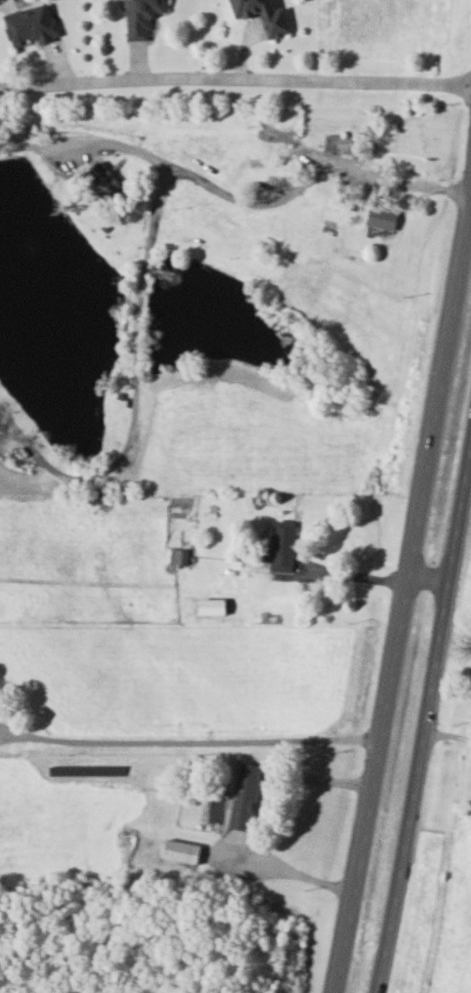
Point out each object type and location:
road: (4, 2)
building: (267, 15)
building: (145, 17)
building: (34, 25)
road: (235, 81)
building: (280, 135)
building: (341, 142)
road: (120, 147)
road: (32, 148)
road: (314, 173)
building: (105, 181)
building: (384, 217)
road: (134, 388)
building: (284, 545)
building: (178, 556)
road: (352, 577)
road: (429, 583)
road: (404, 605)
building: (214, 606)
road: (429, 717)
road: (449, 735)
road: (189, 744)
building: (250, 788)
building: (183, 850)
road: (224, 869)
road: (322, 885)

